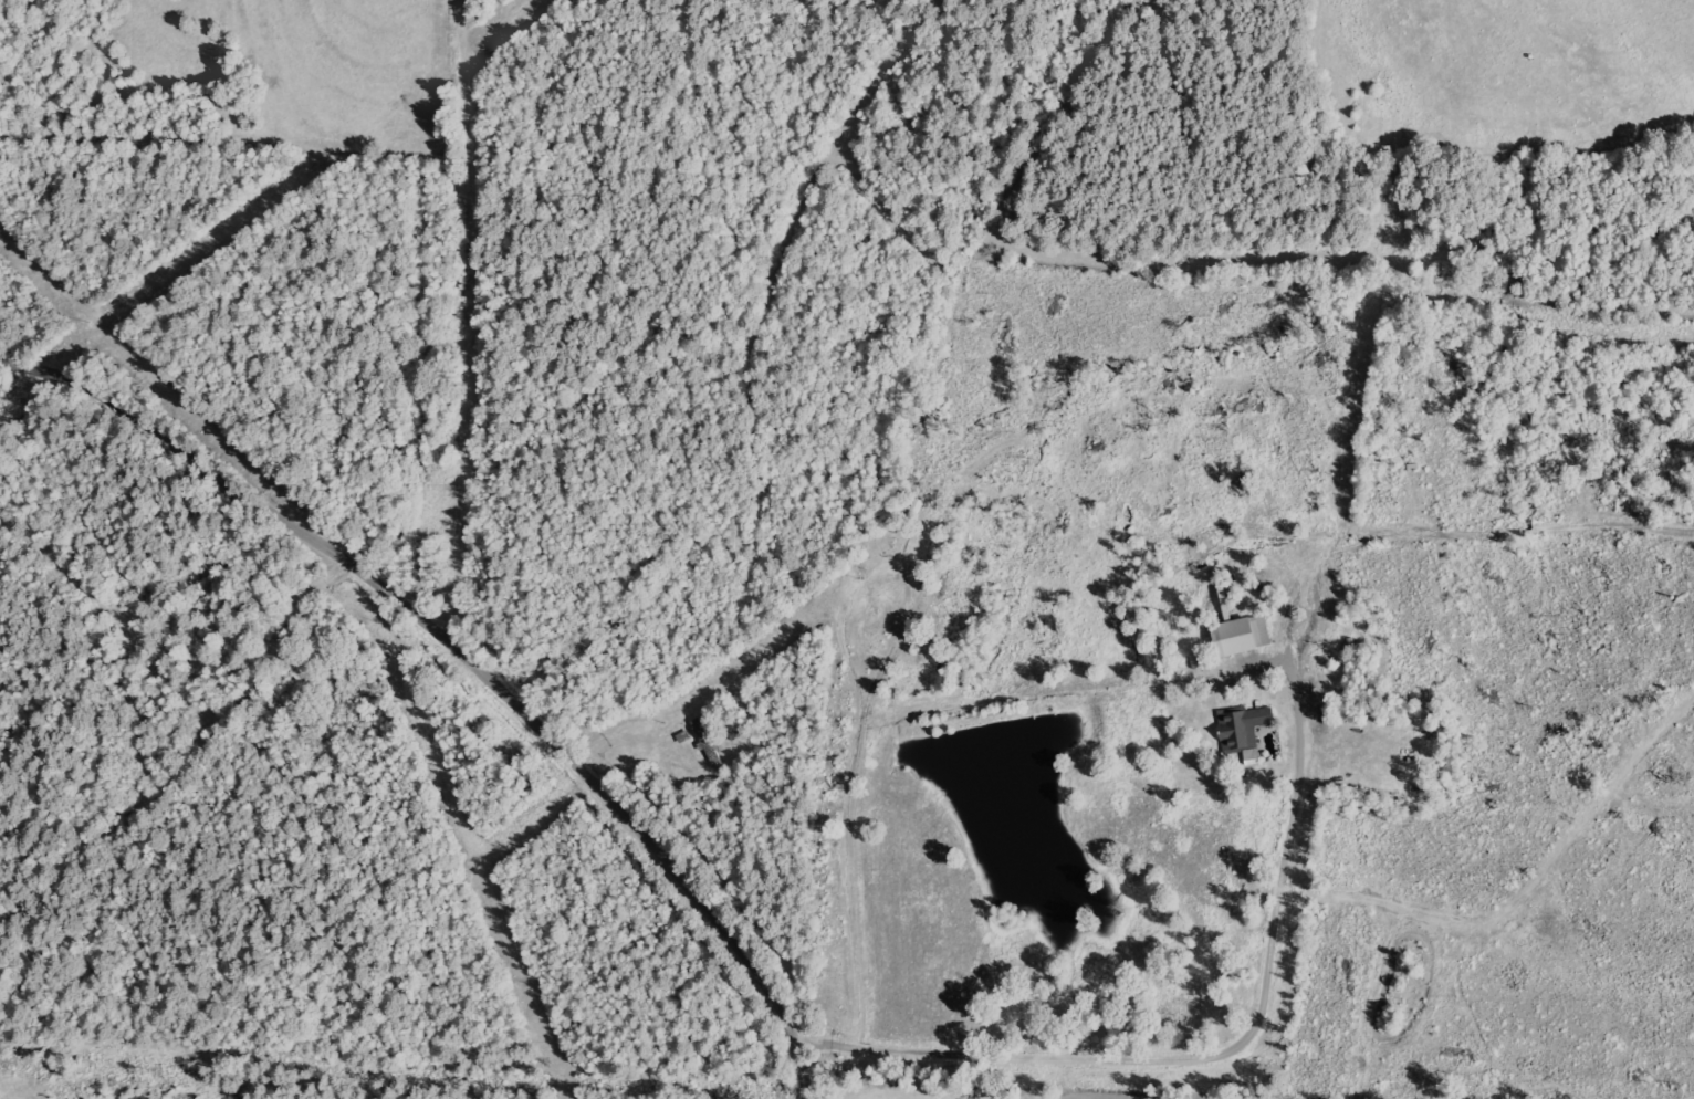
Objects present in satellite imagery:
road: (526, 344)
road: (489, 689)

